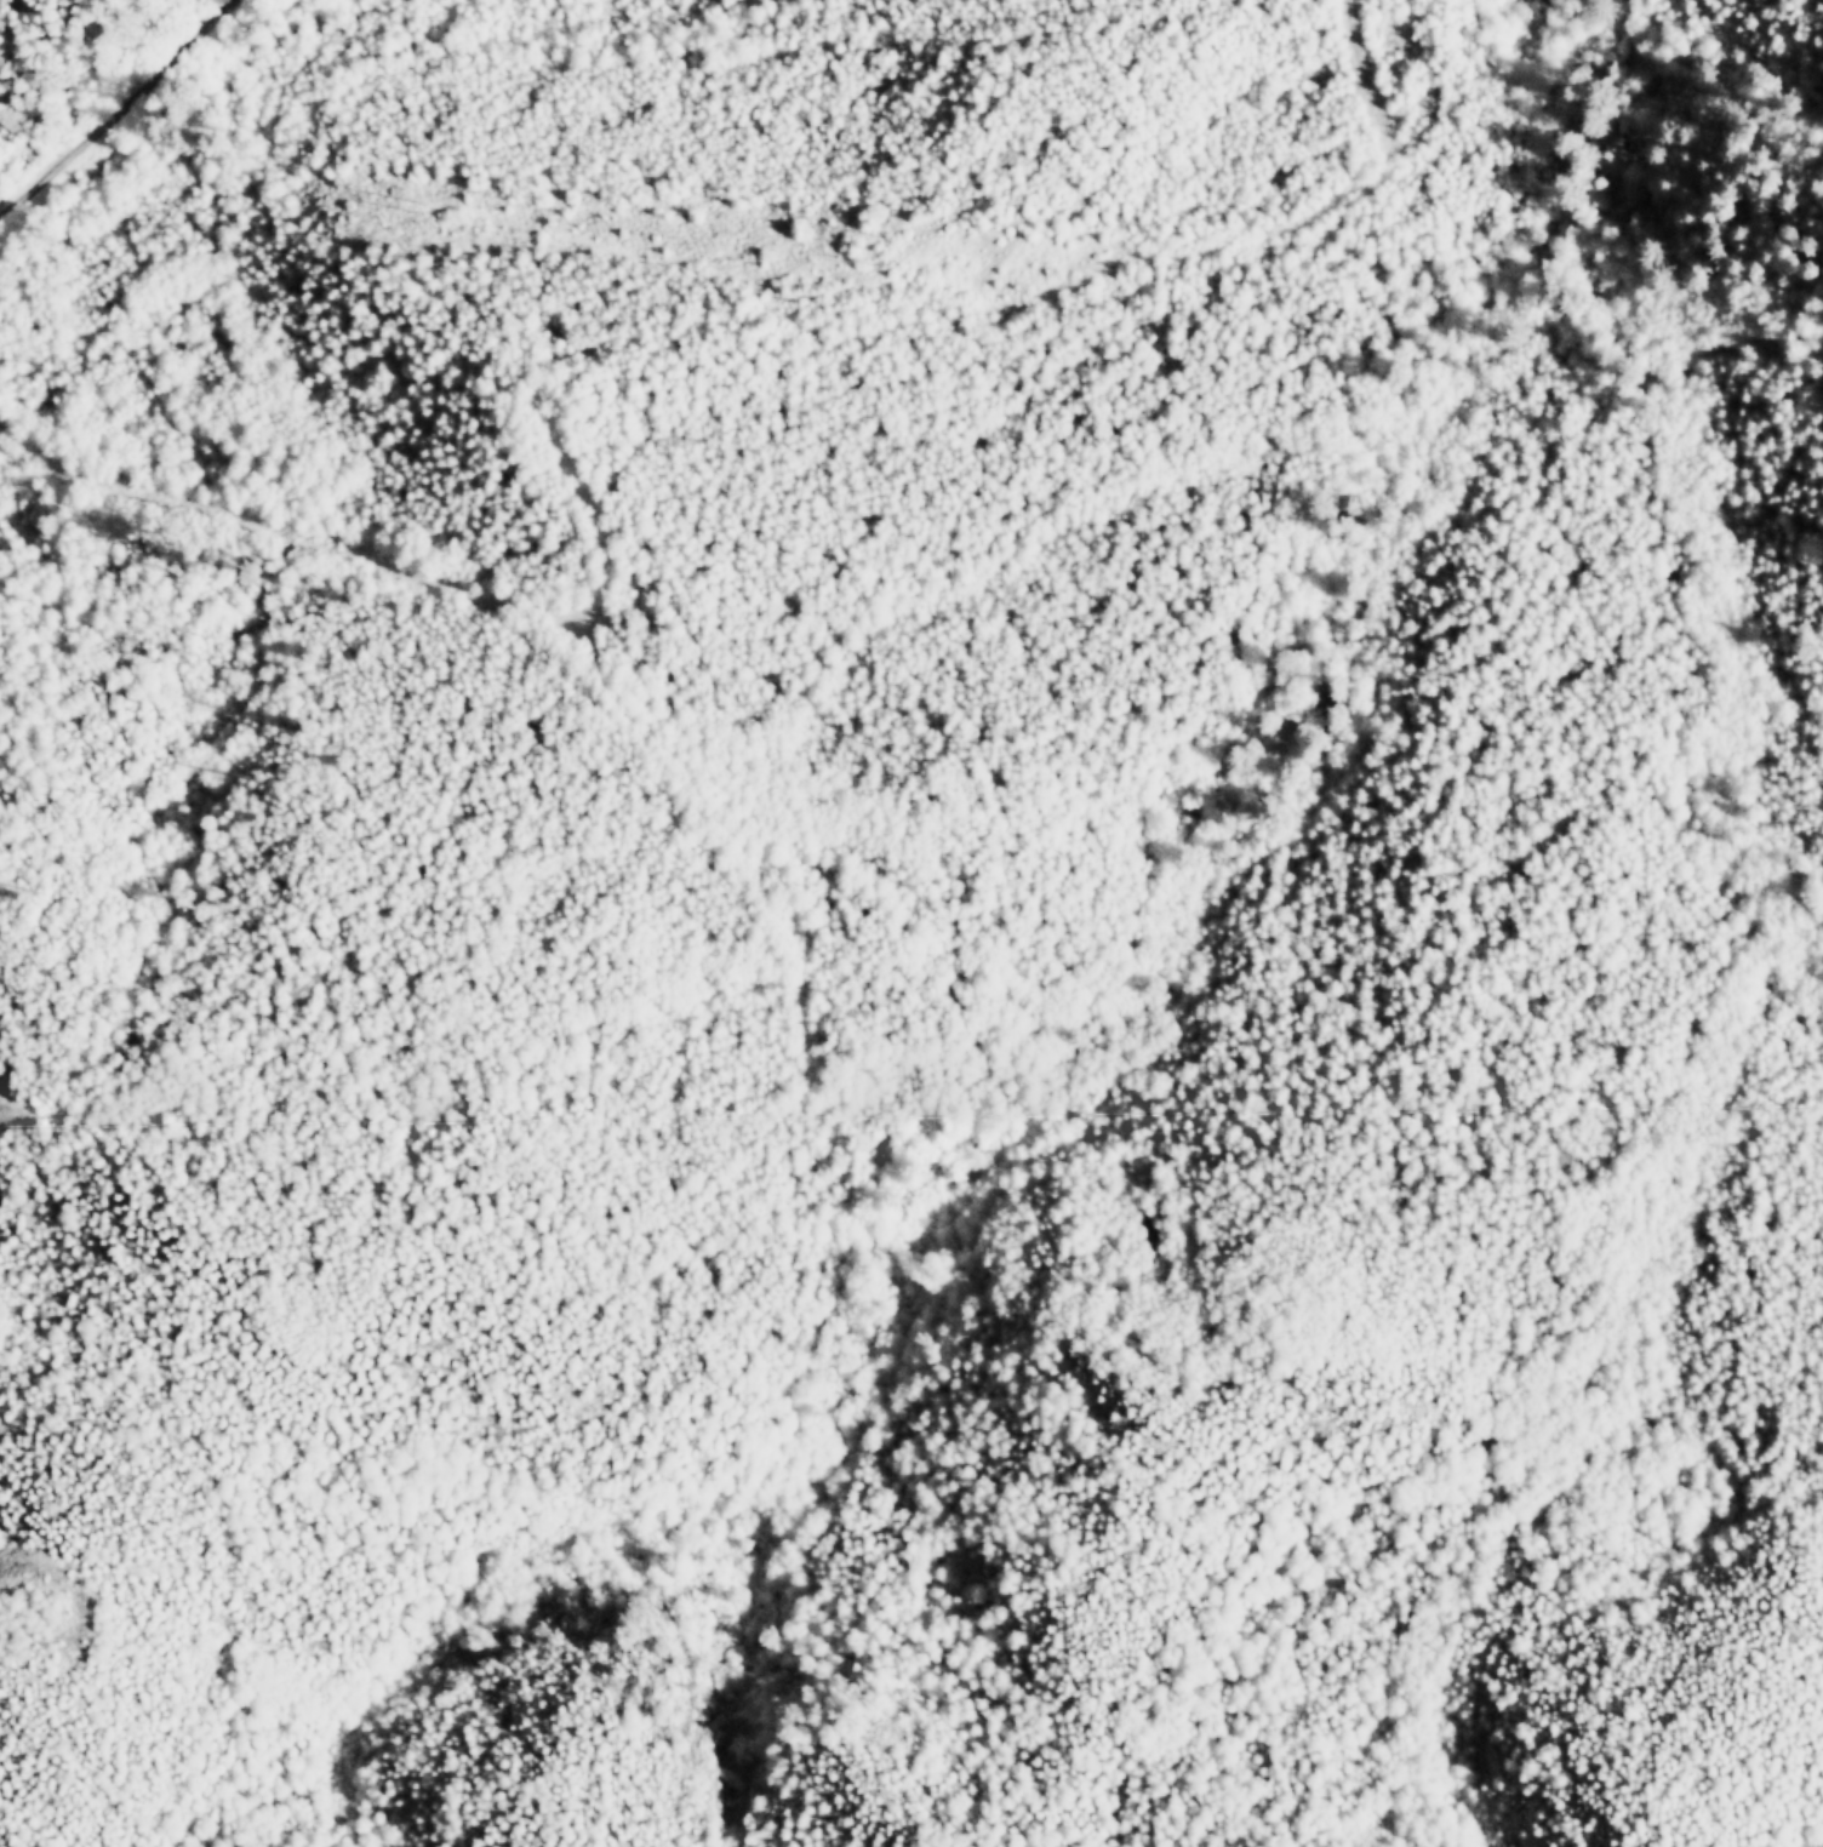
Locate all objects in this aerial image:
road: (118, 108)
road: (994, 257)
road: (491, 604)
road: (90, 1113)
road: (7, 1628)

